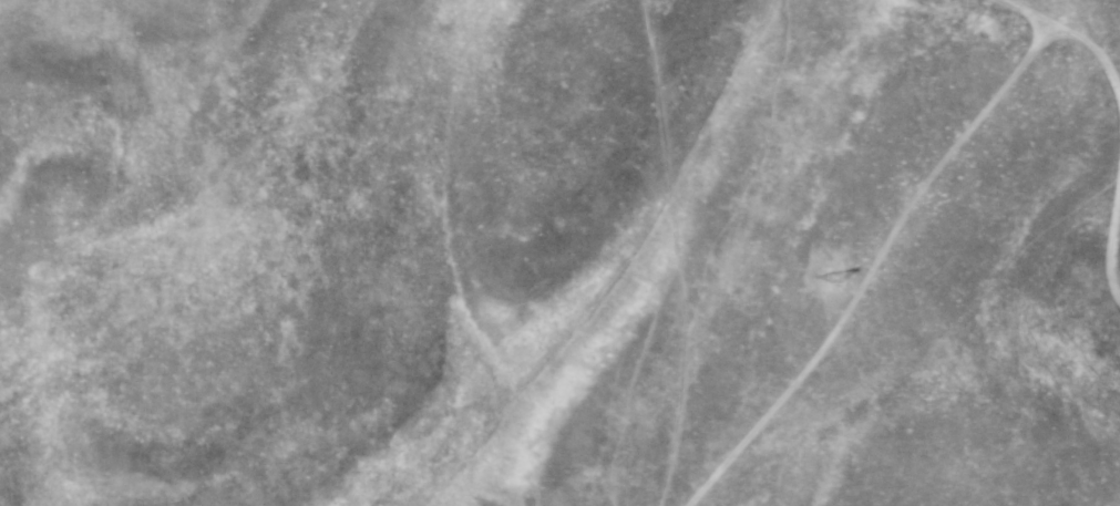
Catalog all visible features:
road: (1081, 115)

